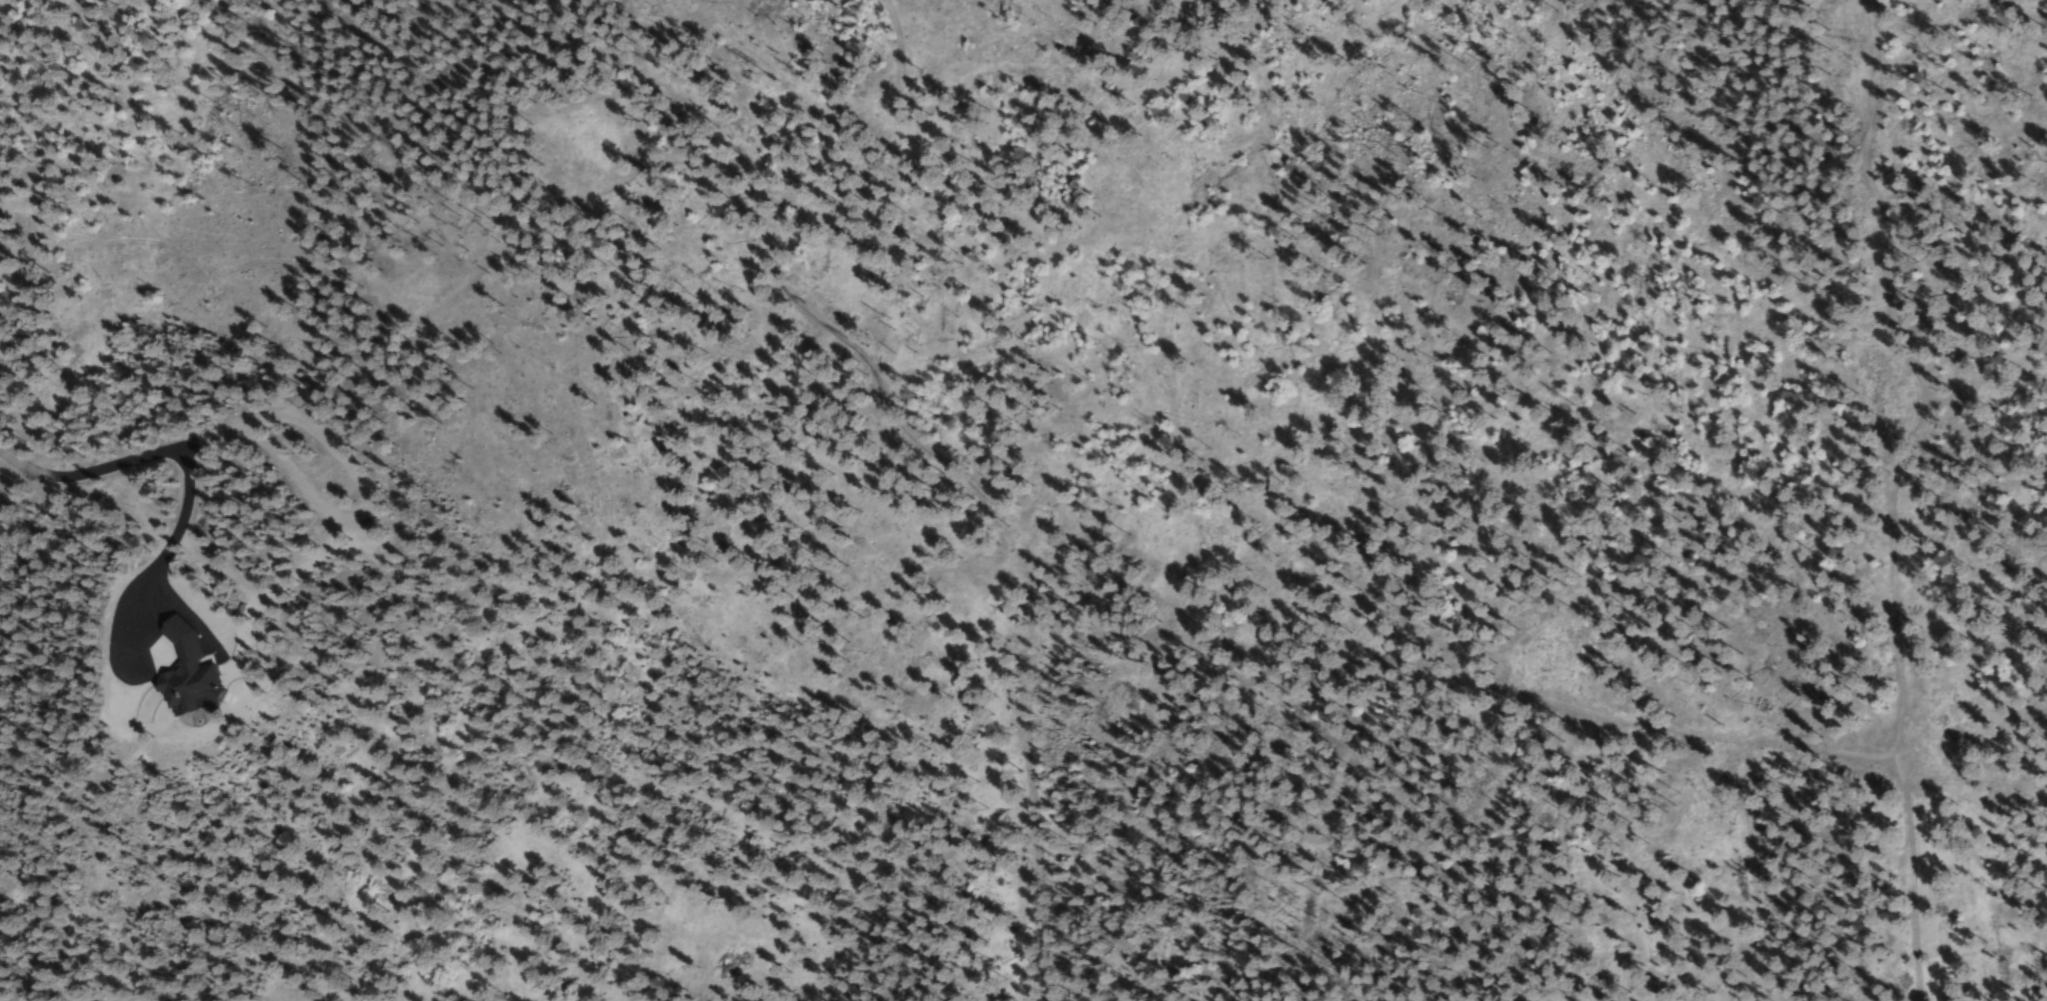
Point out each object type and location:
road: (124, 463)
road: (367, 515)
road: (170, 545)

